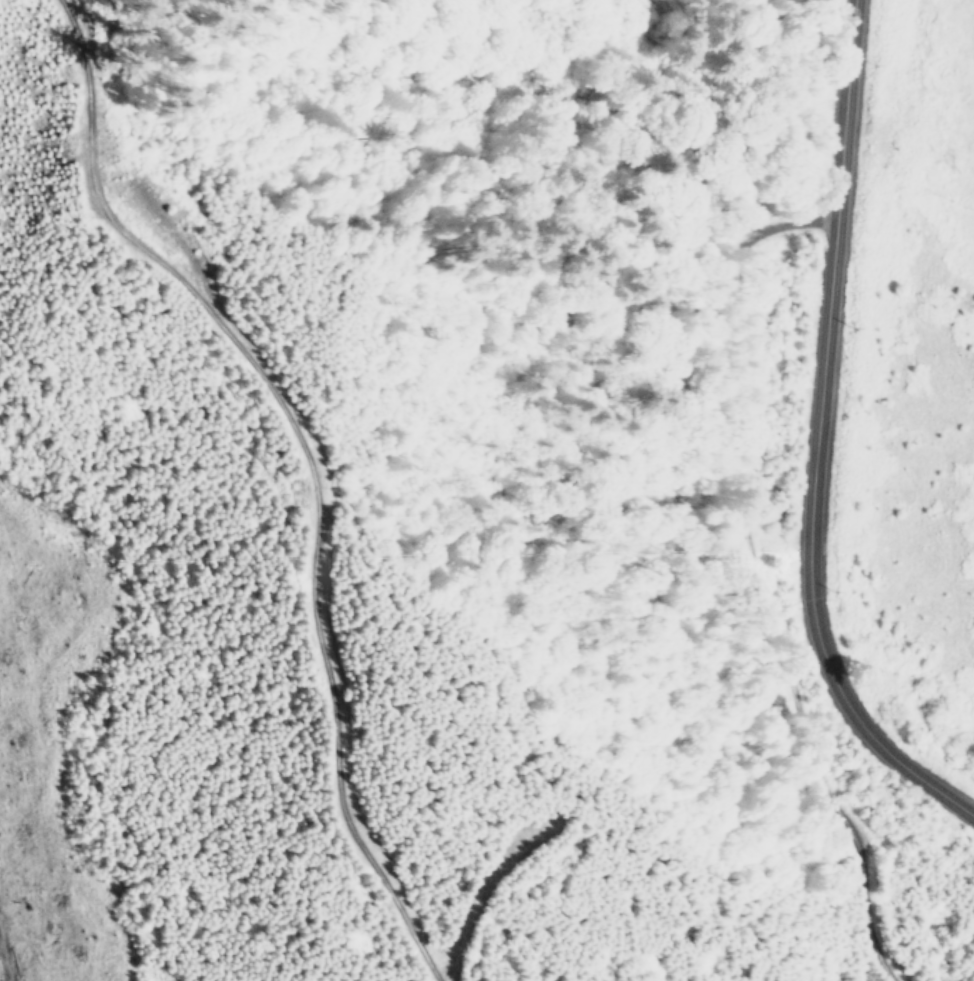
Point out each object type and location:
road: (826, 438)

